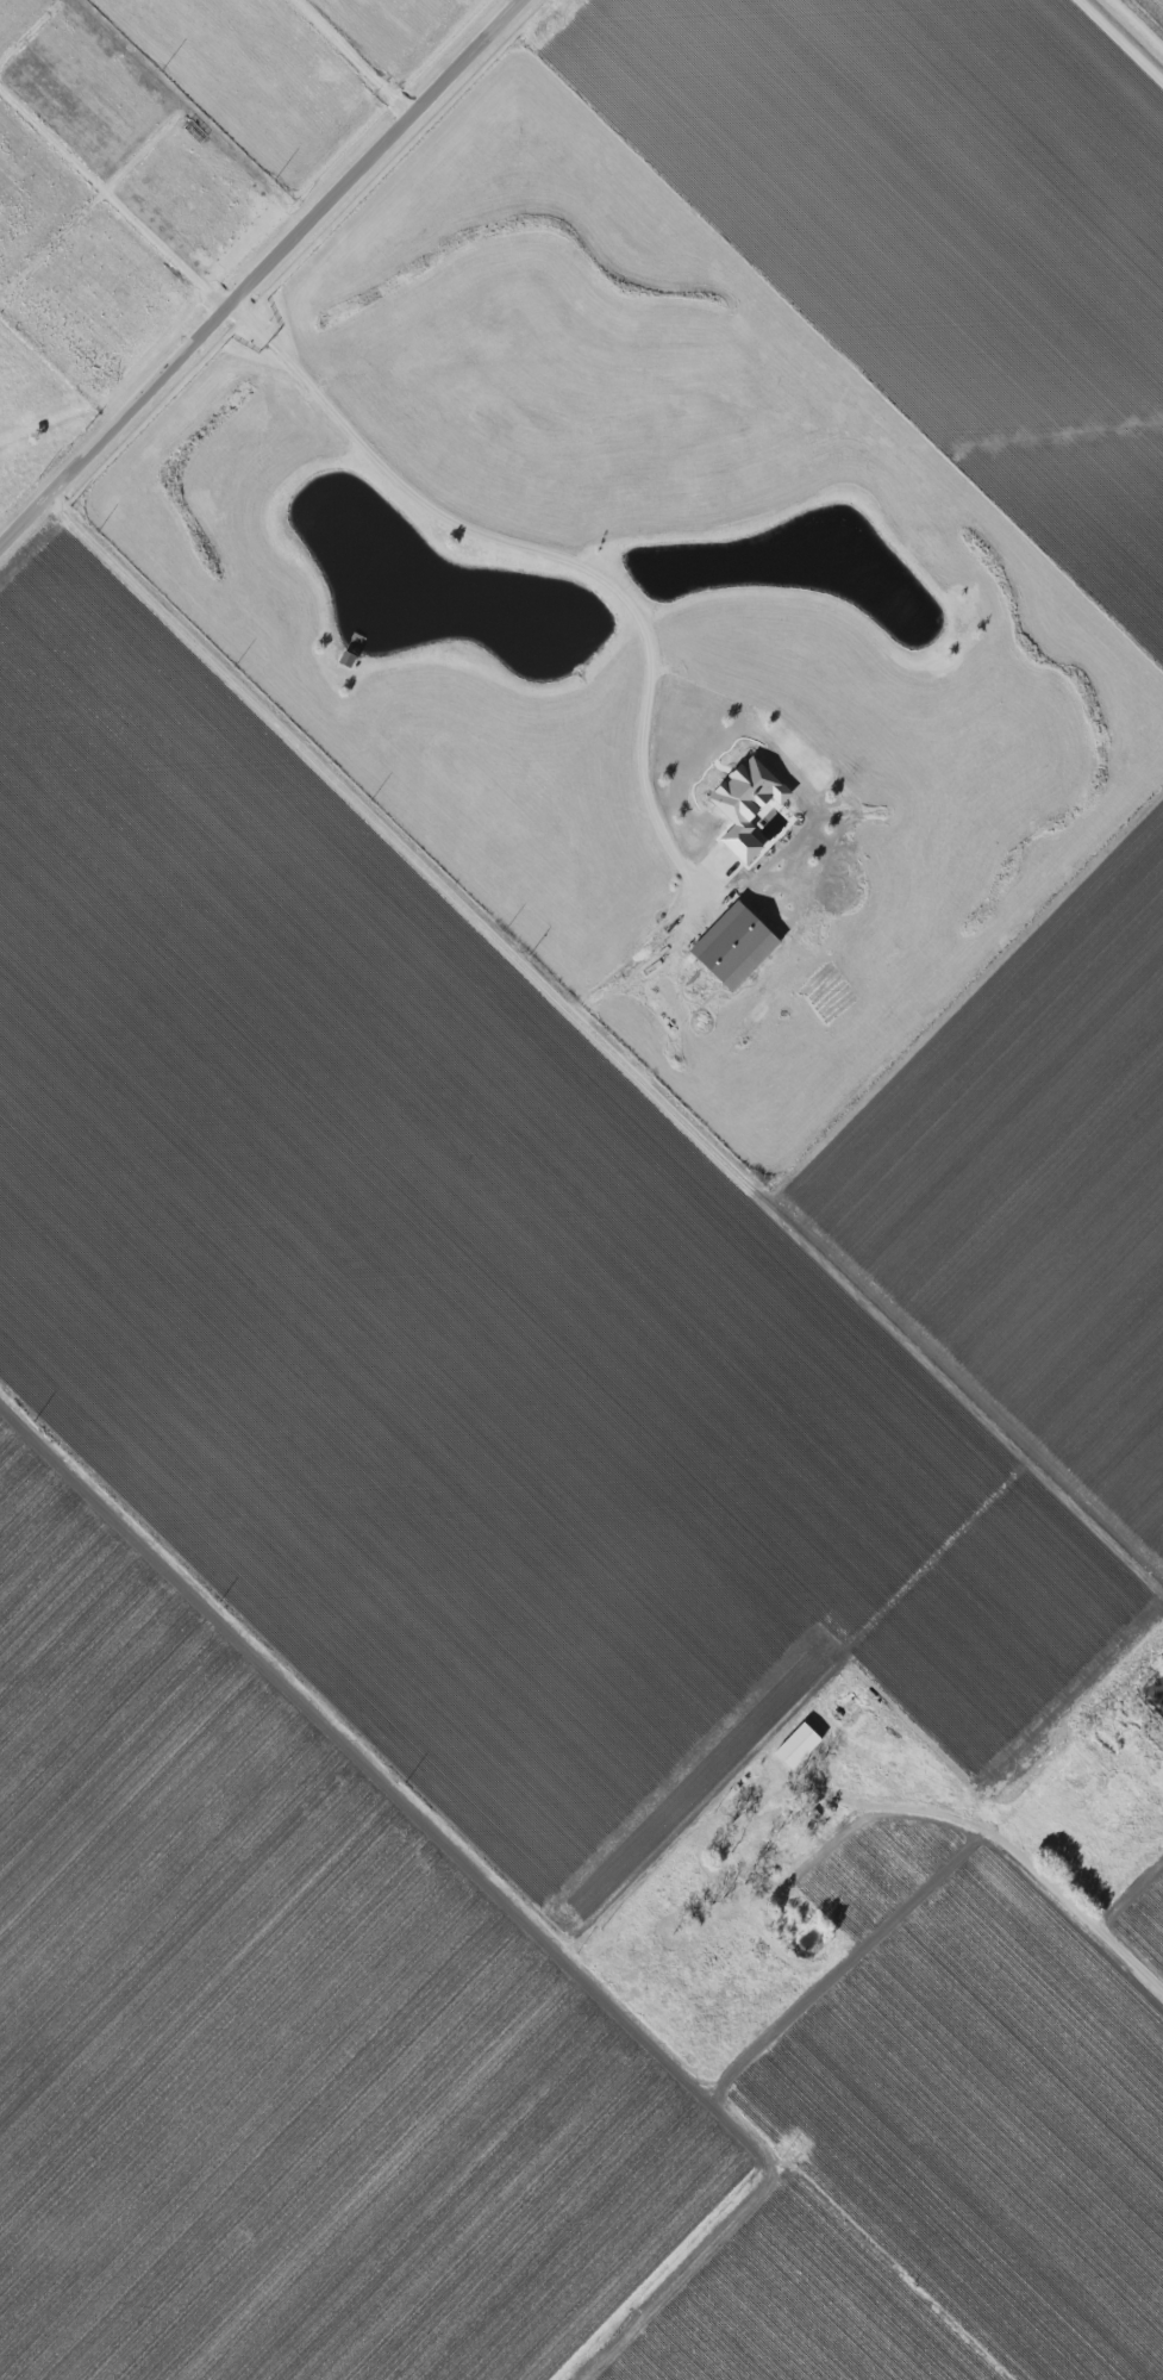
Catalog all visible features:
road: (261, 272)
road: (539, 552)
building: (746, 803)
building: (733, 946)
road: (605, 1032)
building: (796, 1744)
road: (900, 1805)
road: (508, 1883)
road: (1075, 1913)
road: (693, 2272)

